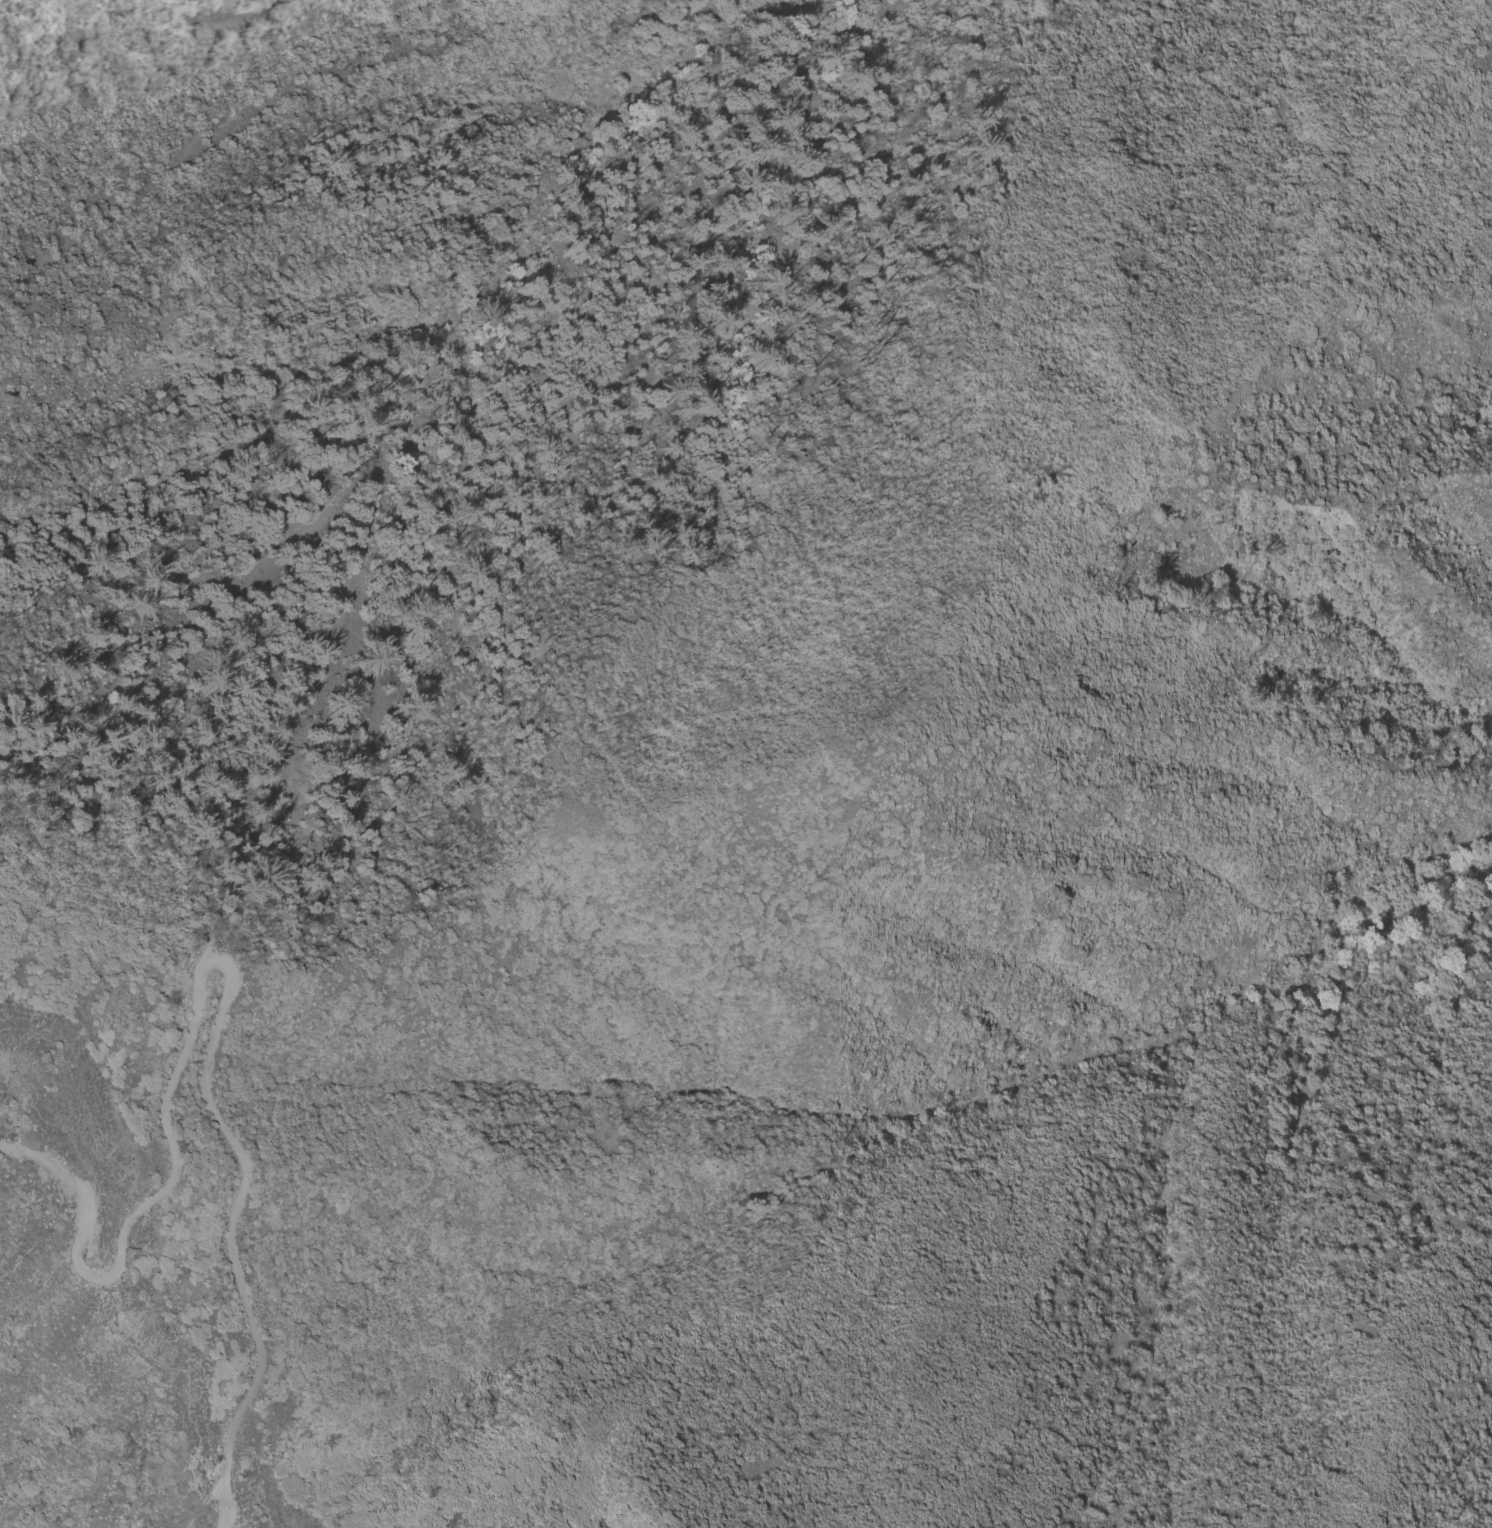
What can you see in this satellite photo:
road: (222, 968)
road: (482, 1522)

